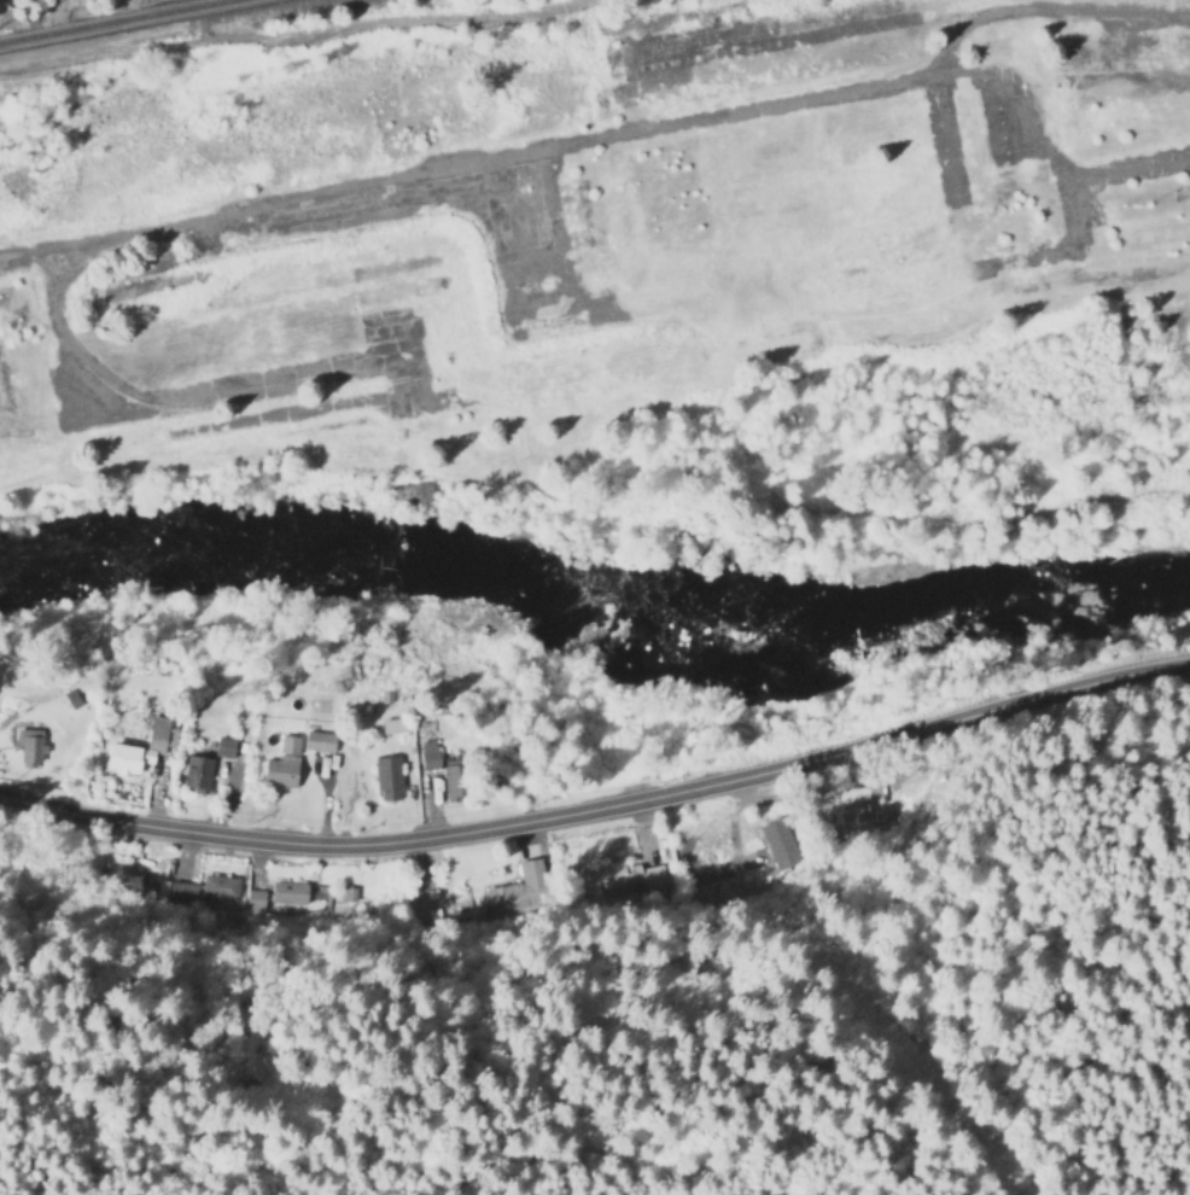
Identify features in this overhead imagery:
railway: (113, 23)
road: (613, 142)
river: (594, 594)
building: (390, 724)
building: (157, 730)
building: (29, 747)
building: (427, 754)
building: (293, 756)
building: (123, 758)
building: (193, 771)
building: (385, 777)
road: (600, 805)
building: (626, 876)

